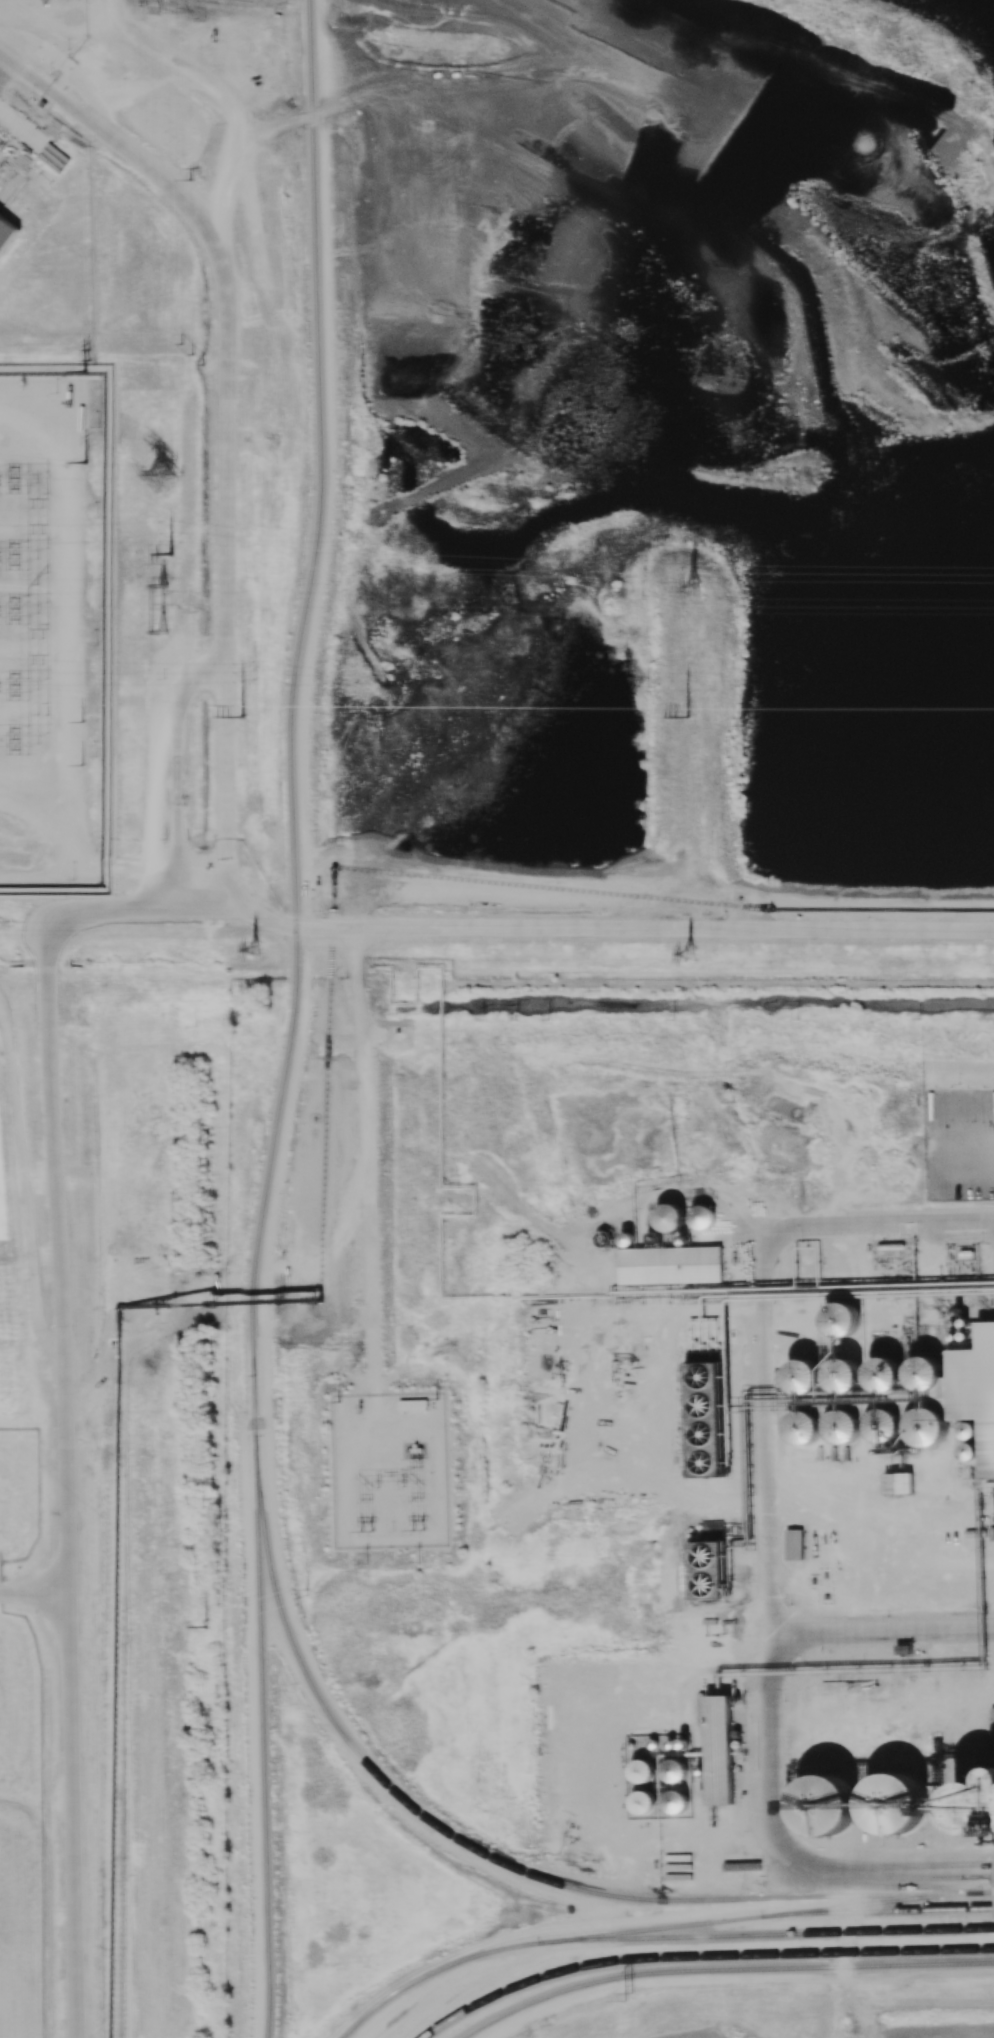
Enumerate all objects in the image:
road: (4, 59)
road: (24, 67)
power tower: (192, 181)
road: (113, 353)
power tower: (91, 354)
power tower: (192, 355)
power tower: (86, 373)
power tower: (86, 464)
power plant: (143, 478)
power tower: (161, 479)
power tower: (170, 553)
power substation: (56, 584)
power tower: (683, 591)
power tower: (168, 608)
power tower: (248, 718)
power tower: (694, 718)
road: (229, 835)
power tower: (261, 957)
power tower: (679, 957)
railway: (292, 1019)
building: (670, 1216)
storage tank: (670, 1216)
building: (702, 1216)
storage tank: (702, 1216)
building: (627, 1238)
storage tank: (627, 1238)
building: (682, 1239)
storage tank: (682, 1239)
building: (670, 1266)
building: (843, 1318)
storage tank: (843, 1318)
building: (885, 1373)
storage tank: (885, 1373)
building: (844, 1374)
storage tank: (844, 1374)
building: (803, 1376)
storage tank: (803, 1376)
road: (61, 1384)
building: (975, 1396)
building: (702, 1421)
building: (886, 1424)
storage tank: (886, 1424)
building: (845, 1425)
storage tank: (845, 1425)
building: (805, 1426)
storage tank: (805, 1426)
building: (928, 1427)
storage tank: (928, 1427)
power substation: (391, 1470)
power tower: (419, 1527)
power tower: (367, 1529)
power tower: (420, 1560)
power tower: (368, 1562)
building: (706, 1569)
road: (34, 1586)
power tower: (306, 1587)
power tower: (308, 1594)
power tower: (206, 1627)
building: (653, 1742)
building: (682, 1742)
building: (671, 1743)
building: (631, 1744)
wastewater plant: (21, 1764)
building: (675, 1769)
building: (642, 1770)
building: (702, 1770)
building: (676, 1800)
building: (643, 1801)
building: (894, 1801)
building: (826, 1803)
building: (975, 1806)
railway: (482, 1854)
road: (920, 1864)
railway: (881, 1912)
railway: (656, 1929)
railway: (776, 1935)
railway: (701, 1958)
railway: (722, 1971)
power tower: (630, 1997)

